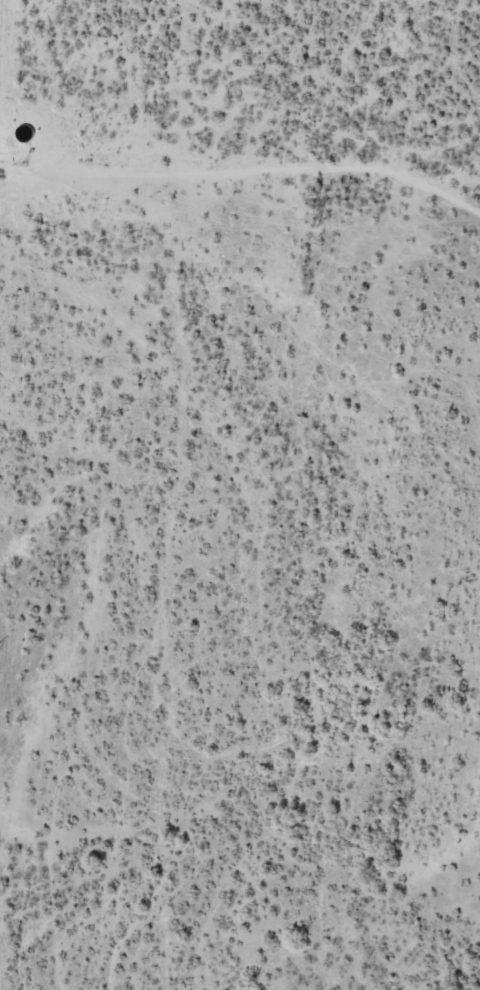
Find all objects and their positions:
road: (1, 30)
power tower: (251, 988)

